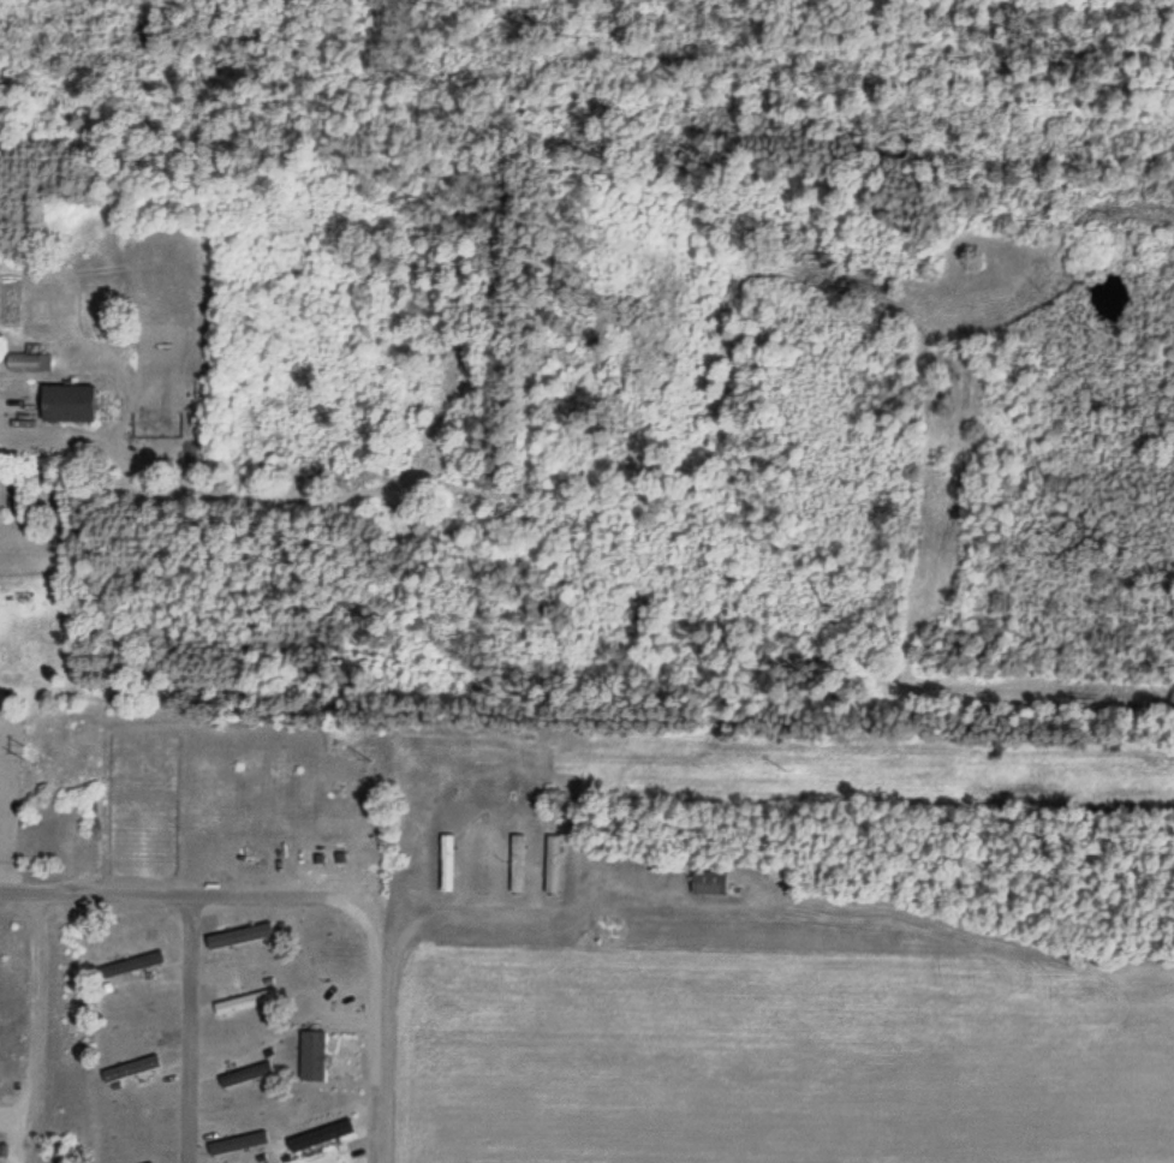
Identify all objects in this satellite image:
building: (24, 363)
building: (75, 404)
building: (446, 864)
building: (516, 865)
building: (552, 865)
building: (707, 883)
road: (153, 896)
building: (243, 938)
building: (131, 966)
road: (373, 1007)
road: (185, 1030)
building: (312, 1057)
building: (130, 1069)
building: (244, 1075)
building: (239, 1143)
building: (153, 1162)

